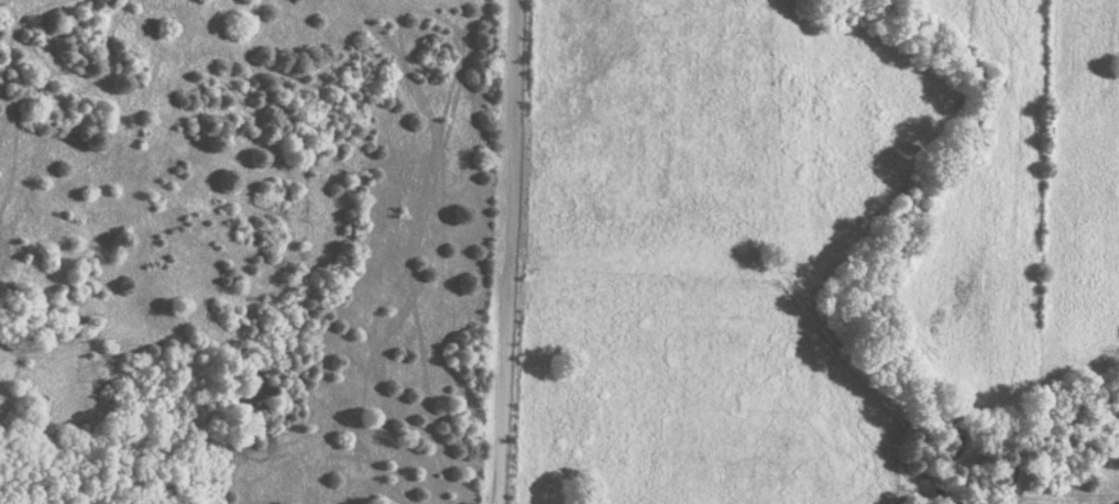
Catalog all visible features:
road: (515, 251)

